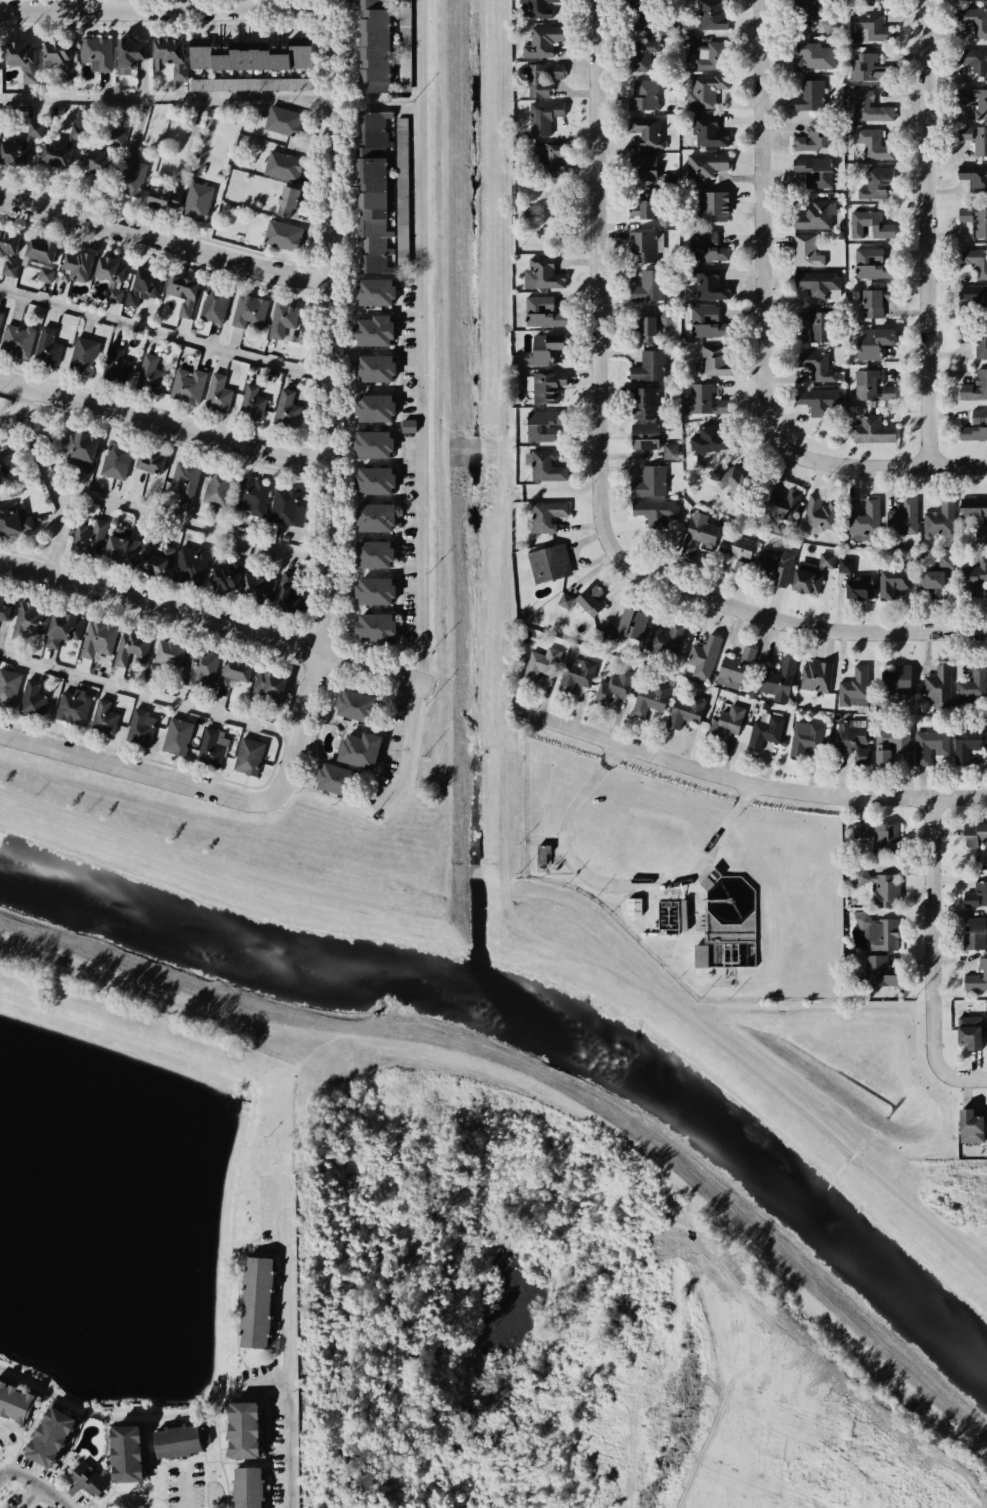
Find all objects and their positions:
building: (874, 0)
building: (977, 1)
building: (864, 6)
road: (163, 9)
building: (534, 10)
building: (802, 14)
building: (710, 15)
building: (638, 16)
building: (973, 20)
building: (828, 23)
building: (866, 29)
building: (540, 41)
building: (375, 46)
building: (280, 50)
building: (639, 51)
building: (50, 52)
building: (707, 52)
building: (127, 53)
building: (168, 53)
building: (94, 54)
building: (249, 55)
building: (810, 56)
building: (972, 57)
building: (19, 58)
building: (867, 67)
building: (539, 78)
building: (252, 84)
building: (705, 89)
building: (642, 94)
building: (808, 96)
road: (169, 99)
building: (973, 99)
building: (865, 103)
building: (542, 115)
building: (280, 121)
building: (33, 130)
building: (706, 130)
building: (645, 131)
building: (76, 132)
building: (813, 136)
building: (114, 137)
building: (973, 138)
building: (872, 143)
building: (11, 150)
building: (550, 154)
building: (50, 155)
building: (85, 161)
building: (703, 165)
building: (281, 166)
building: (639, 167)
building: (812, 171)
building: (126, 176)
building: (973, 177)
building: (669, 182)
building: (873, 182)
road: (561, 190)
building: (373, 192)
building: (286, 195)
building: (156, 197)
building: (194, 199)
building: (641, 206)
building: (709, 206)
road: (532, 211)
building: (526, 214)
park: (551, 214)
road: (541, 215)
building: (813, 216)
road: (532, 218)
building: (973, 221)
building: (868, 222)
road: (931, 232)
building: (281, 235)
road: (562, 239)
road: (169, 241)
building: (643, 245)
building: (705, 246)
road: (767, 247)
building: (9, 248)
building: (804, 251)
building: (41, 253)
building: (974, 260)
building: (867, 263)
building: (79, 265)
building: (543, 273)
building: (46, 275)
building: (110, 277)
building: (817, 282)
building: (707, 284)
building: (647, 286)
building: (138, 288)
building: (371, 292)
building: (183, 295)
building: (971, 297)
building: (875, 301)
building: (212, 305)
building: (0, 311)
building: (249, 311)
building: (541, 312)
building: (1, 318)
building: (281, 318)
building: (708, 322)
building: (817, 325)
building: (644, 328)
building: (370, 330)
building: (975, 338)
building: (869, 341)
building: (15, 342)
road: (169, 343)
building: (544, 345)
building: (46, 348)
building: (84, 352)
building: (714, 358)
building: (115, 362)
building: (648, 366)
building: (819, 367)
building: (371, 368)
building: (146, 373)
building: (864, 384)
building: (186, 385)
building: (546, 386)
building: (972, 386)
road: (603, 391)
building: (216, 393)
building: (704, 400)
building: (819, 401)
building: (643, 403)
building: (249, 405)
building: (370, 408)
road: (423, 410)
building: (286, 411)
road: (340, 412)
road: (169, 422)
building: (974, 425)
building: (409, 426)
building: (869, 427)
building: (538, 428)
building: (644, 436)
building: (711, 439)
building: (370, 444)
road: (436, 445)
building: (669, 450)
building: (77, 451)
building: (113, 460)
building: (148, 463)
building: (543, 464)
road: (909, 464)
building: (4, 473)
road: (54, 479)
building: (182, 479)
building: (370, 479)
building: (729, 479)
building: (649, 482)
building: (212, 489)
building: (247, 495)
building: (784, 503)
building: (283, 507)
building: (972, 507)
building: (818, 511)
building: (656, 512)
building: (372, 515)
building: (550, 516)
building: (903, 519)
building: (940, 520)
building: (866, 522)
building: (16, 524)
road: (204, 534)
building: (983, 534)
building: (90, 535)
building: (698, 539)
building: (124, 544)
building: (742, 554)
building: (155, 556)
building: (372, 556)
building: (554, 561)
building: (192, 563)
building: (779, 565)
building: (225, 574)
building: (815, 574)
building: (858, 581)
building: (259, 583)
building: (898, 586)
building: (970, 587)
building: (933, 588)
building: (293, 592)
building: (372, 592)
building: (586, 603)
road: (164, 607)
building: (4, 612)
building: (30, 623)
building: (631, 624)
building: (372, 628)
road: (908, 632)
building: (64, 636)
building: (605, 636)
building: (673, 639)
building: (101, 645)
building: (706, 654)
building: (134, 655)
building: (169, 665)
building: (538, 665)
building: (741, 667)
road: (375, 669)
road: (451, 670)
building: (778, 675)
building: (203, 676)
building: (584, 680)
building: (817, 683)
building: (238, 685)
building: (10, 687)
building: (858, 690)
building: (939, 691)
building: (973, 691)
building: (622, 692)
building: (900, 692)
building: (276, 696)
road: (152, 698)
building: (31, 700)
building: (652, 704)
building: (352, 705)
building: (73, 707)
building: (688, 715)
building: (103, 720)
building: (138, 728)
building: (727, 729)
building: (178, 737)
building: (767, 740)
building: (209, 745)
building: (349, 748)
building: (812, 748)
building: (855, 754)
building: (925, 755)
building: (971, 755)
building: (248, 756)
building: (887, 761)
road: (133, 769)
building: (335, 779)
road: (751, 779)
building: (965, 832)
building: (876, 840)
building: (543, 854)
building: (968, 882)
building: (876, 885)
road: (617, 886)
building: (876, 926)
building: (967, 933)
road: (688, 942)
building: (728, 947)
road: (937, 958)
building: (885, 971)
building: (970, 981)
river: (545, 1018)
building: (967, 1033)
road: (334, 1036)
road: (188, 1057)
building: (968, 1122)
road: (307, 1262)
building: (257, 1303)
road: (822, 1308)
road: (722, 1336)
road: (286, 1350)
building: (16, 1403)
road: (97, 1409)
road: (2, 1428)
building: (245, 1430)
building: (52, 1437)
building: (181, 1440)
building: (128, 1454)
building: (89, 1480)
road: (36, 1482)
building: (248, 1487)
road: (186, 1488)
road: (31, 1497)

